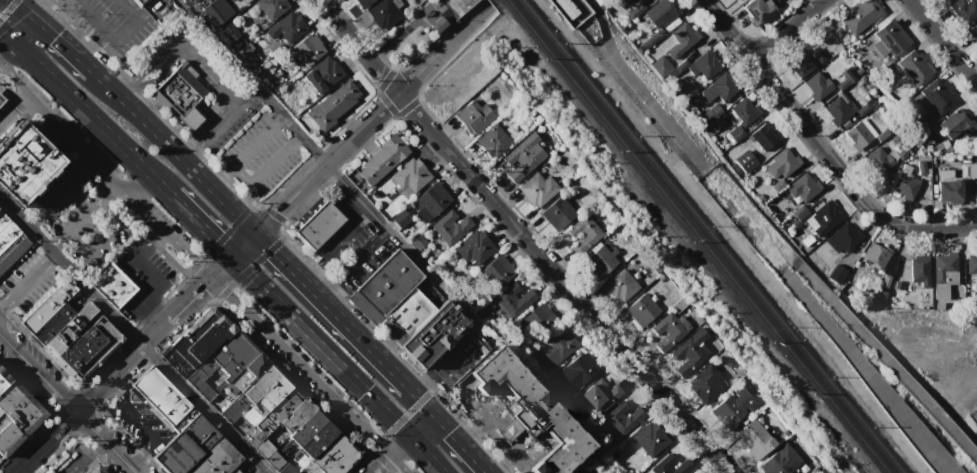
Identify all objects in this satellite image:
building: (194, 0)
building: (248, 0)
building: (641, 0)
building: (943, 0)
building: (363, 2)
building: (138, 3)
building: (271, 7)
road: (7, 8)
building: (636, 9)
building: (663, 9)
road: (132, 10)
building: (217, 11)
building: (570, 11)
building: (754, 11)
building: (962, 11)
road: (30, 13)
road: (58, 13)
building: (382, 13)
building: (859, 15)
building: (436, 24)
road: (785, 29)
building: (285, 30)
building: (587, 30)
road: (26, 32)
road: (108, 32)
building: (229, 32)
building: (973, 33)
road: (3, 35)
building: (891, 37)
building: (651, 38)
building: (681, 38)
road: (222, 40)
road: (3, 41)
road: (175, 41)
road: (942, 42)
building: (307, 48)
road: (69, 49)
building: (817, 55)
building: (798, 62)
building: (705, 64)
building: (660, 66)
building: (916, 66)
building: (322, 74)
building: (816, 85)
road: (636, 87)
building: (720, 88)
building: (179, 95)
building: (938, 96)
building: (0, 99)
road: (268, 99)
road: (11, 102)
road: (387, 102)
building: (333, 103)
building: (837, 109)
building: (743, 111)
road: (90, 114)
road: (47, 115)
building: (472, 116)
road: (373, 118)
road: (213, 121)
building: (708, 122)
building: (953, 123)
building: (736, 134)
building: (859, 134)
building: (882, 135)
building: (763, 136)
road: (256, 141)
building: (492, 141)
road: (165, 145)
road: (820, 147)
road: (186, 149)
building: (901, 153)
building: (522, 157)
building: (380, 159)
building: (877, 160)
building: (745, 161)
building: (24, 163)
building: (781, 164)
road: (267, 168)
building: (968, 170)
building: (410, 176)
road: (220, 178)
road: (143, 185)
building: (805, 186)
building: (904, 186)
building: (537, 188)
building: (947, 189)
road: (56, 190)
building: (429, 202)
road: (135, 203)
road: (364, 204)
park: (778, 205)
building: (556, 213)
building: (799, 213)
road: (79, 214)
building: (400, 218)
building: (822, 219)
building: (451, 224)
road: (202, 225)
road: (247, 225)
building: (318, 225)
building: (582, 232)
traffic signals: (255, 233)
road: (342, 236)
railway: (697, 236)
railway: (712, 236)
road: (102, 237)
road: (523, 238)
road: (144, 239)
building: (842, 239)
road: (263, 241)
building: (417, 242)
building: (10, 243)
road: (220, 243)
road: (177, 245)
road: (243, 245)
building: (473, 248)
road: (360, 255)
building: (875, 255)
traffic signals: (232, 257)
building: (598, 261)
building: (888, 263)
building: (944, 263)
building: (971, 263)
road: (221, 267)
building: (918, 268)
road: (248, 271)
road: (308, 271)
building: (496, 272)
building: (836, 273)
road: (26, 278)
road: (211, 279)
road: (154, 281)
building: (388, 281)
building: (885, 282)
building: (110, 284)
building: (620, 286)
building: (896, 287)
road: (327, 291)
building: (515, 297)
road: (183, 305)
building: (641, 310)
building: (404, 316)
building: (539, 319)
road: (146, 321)
road: (345, 323)
building: (68, 331)
building: (665, 332)
building: (433, 333)
road: (133, 336)
building: (197, 342)
road: (320, 346)
building: (555, 347)
building: (689, 352)
road: (448, 359)
building: (221, 365)
road: (301, 365)
building: (888, 365)
building: (249, 371)
building: (578, 371)
road: (115, 372)
road: (37, 373)
building: (871, 380)
building: (706, 384)
road: (422, 385)
building: (601, 393)
building: (158, 395)
building: (257, 396)
road: (425, 405)
building: (281, 406)
building: (732, 408)
building: (531, 412)
building: (15, 413)
building: (295, 416)
traffic signals: (393, 420)
road: (398, 420)
building: (617, 421)
road: (141, 424)
road: (420, 424)
road: (508, 425)
traffic signals: (448, 430)
road: (497, 437)
building: (754, 438)
building: (649, 439)
road: (43, 442)
road: (105, 442)
road: (458, 442)
building: (321, 446)
building: (263, 447)
building: (195, 450)
road: (389, 454)
road: (425, 454)
road: (392, 456)
road: (83, 458)
building: (273, 461)
building: (780, 461)
building: (670, 463)
road: (23, 469)
building: (286, 469)
road: (584, 469)
building: (94, 470)

